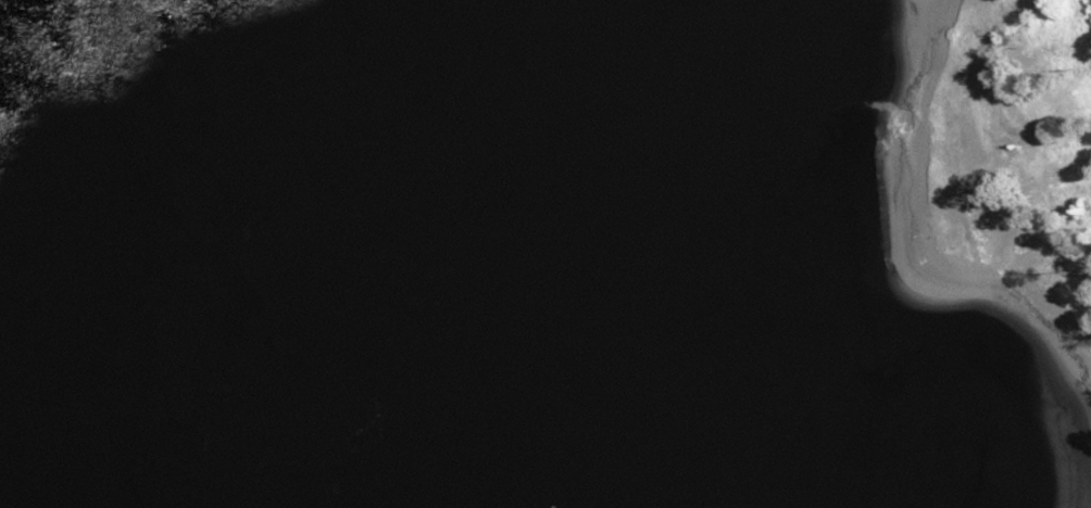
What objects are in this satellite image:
river: (2, 5)

